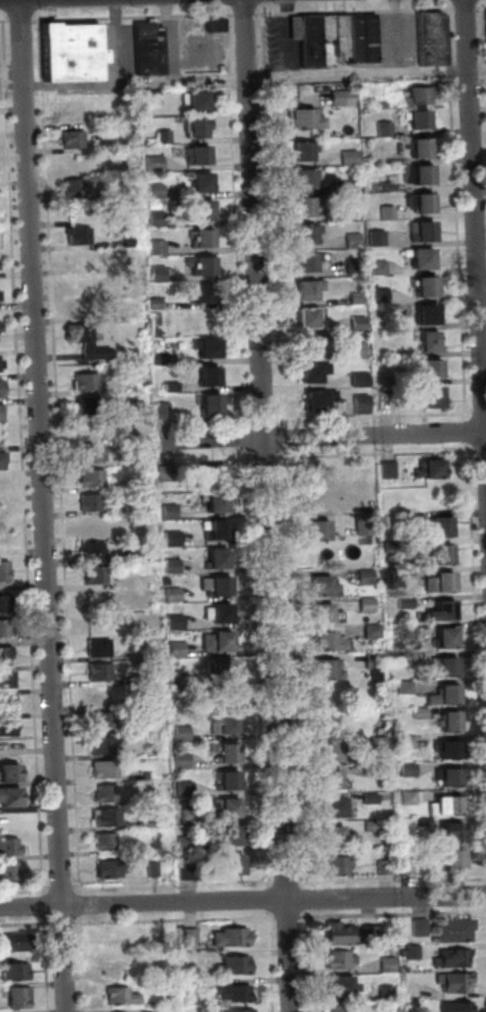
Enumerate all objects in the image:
road: (481, 5)
road: (467, 8)
road: (130, 15)
road: (6, 20)
road: (23, 20)
building: (212, 22)
building: (328, 27)
building: (342, 34)
building: (362, 36)
road: (278, 37)
parking lot: (397, 37)
road: (399, 37)
building: (307, 38)
building: (431, 38)
building: (150, 47)
road: (483, 49)
building: (71, 51)
road: (175, 74)
road: (478, 74)
road: (359, 77)
building: (420, 94)
building: (153, 96)
building: (344, 97)
building: (199, 100)
building: (71, 114)
building: (306, 117)
building: (422, 120)
building: (198, 126)
building: (387, 128)
building: (165, 135)
building: (72, 138)
building: (423, 146)
building: (307, 149)
building: (198, 155)
building: (350, 156)
building: (157, 161)
building: (74, 162)
building: (125, 168)
building: (426, 174)
building: (309, 176)
road: (476, 178)
building: (205, 182)
building: (390, 184)
building: (342, 185)
building: (76, 186)
building: (158, 191)
building: (426, 203)
building: (309, 206)
building: (205, 208)
building: (389, 212)
building: (333, 214)
building: (157, 217)
building: (425, 230)
building: (311, 232)
building: (353, 236)
building: (377, 236)
building: (80, 237)
building: (206, 237)
building: (128, 240)
building: (158, 243)
building: (425, 257)
building: (309, 260)
building: (355, 263)
building: (209, 264)
building: (378, 264)
building: (159, 273)
building: (429, 284)
building: (311, 287)
building: (208, 292)
building: (380, 294)
building: (1, 295)
building: (358, 297)
building: (156, 302)
building: (82, 305)
building: (430, 313)
building: (312, 317)
building: (387, 321)
building: (359, 322)
building: (1, 326)
building: (81, 331)
building: (155, 331)
building: (433, 337)
building: (314, 344)
building: (214, 347)
building: (359, 349)
building: (97, 352)
building: (163, 358)
building: (2, 362)
building: (436, 367)
building: (317, 371)
building: (212, 374)
building: (360, 377)
building: (87, 382)
building: (172, 386)
building: (2, 388)
building: (436, 395)
road: (245, 396)
building: (319, 399)
building: (361, 401)
building: (213, 402)
building: (385, 402)
building: (89, 404)
building: (134, 407)
building: (161, 409)
building: (1, 411)
road: (371, 416)
building: (132, 432)
road: (282, 436)
road: (321, 437)
building: (91, 452)
road: (56, 454)
road: (24, 456)
building: (133, 457)
building: (2, 460)
building: (389, 469)
building: (434, 470)
building: (217, 471)
building: (92, 477)
building: (134, 481)
building: (91, 499)
building: (319, 501)
building: (219, 502)
road: (47, 505)
building: (133, 505)
road: (271, 505)
building: (169, 509)
building: (364, 523)
building: (94, 524)
building: (441, 526)
building: (133, 528)
building: (221, 528)
building: (322, 530)
building: (174, 535)
building: (94, 550)
building: (132, 553)
building: (445, 553)
building: (220, 558)
building: (171, 562)
building: (5, 569)
road: (289, 575)
building: (94, 576)
building: (367, 576)
building: (446, 579)
building: (222, 584)
building: (324, 585)
building: (173, 593)
building: (5, 602)
building: (407, 603)
building: (368, 604)
building: (448, 611)
building: (326, 612)
building: (225, 613)
building: (97, 619)
building: (174, 619)
road: (476, 621)
building: (7, 628)
building: (408, 628)
building: (373, 630)
building: (449, 637)
building: (225, 639)
building: (332, 640)
building: (100, 646)
building: (177, 647)
building: (7, 655)
building: (406, 657)
building: (374, 660)
building: (445, 663)
building: (330, 667)
building: (221, 668)
building: (99, 669)
building: (178, 675)
building: (7, 678)
building: (406, 685)
building: (447, 692)
building: (8, 703)
building: (420, 712)
building: (105, 717)
building: (227, 720)
building: (454, 720)
building: (9, 727)
building: (180, 730)
building: (379, 740)
building: (102, 742)
building: (407, 742)
building: (229, 749)
building: (453, 749)
building: (336, 751)
building: (182, 759)
building: (106, 767)
building: (370, 769)
building: (12, 772)
building: (454, 776)
building: (231, 778)
building: (336, 778)
building: (185, 786)
building: (108, 790)
building: (143, 795)
building: (372, 797)
building: (409, 797)
building: (13, 798)
building: (452, 804)
building: (230, 807)
building: (338, 807)
building: (108, 816)
building: (146, 821)
building: (373, 824)
building: (455, 832)
building: (236, 834)
building: (336, 835)
building: (186, 838)
building: (108, 841)
building: (10, 846)
building: (457, 859)
building: (406, 864)
building: (236, 866)
building: (338, 866)
building: (385, 866)
building: (110, 868)
building: (154, 868)
building: (189, 868)
building: (11, 871)
road: (377, 876)
road: (224, 880)
road: (243, 901)
road: (347, 913)
road: (174, 919)
road: (22, 923)
building: (418, 926)
building: (453, 930)
building: (341, 933)
building: (372, 933)
building: (127, 935)
building: (193, 935)
building: (237, 935)
building: (17, 937)
building: (110, 939)
road: (46, 951)
road: (81, 951)
building: (411, 951)
building: (337, 958)
building: (454, 958)
building: (237, 963)
building: (391, 965)
building: (117, 968)
building: (17, 969)
building: (457, 981)
building: (339, 986)
building: (242, 991)
building: (385, 991)
building: (20, 994)
building: (122, 994)
building: (456, 1006)
building: (335, 1007)
building: (214, 1009)
building: (242, 1009)
building: (126, 1011)
building: (370, 1011)

